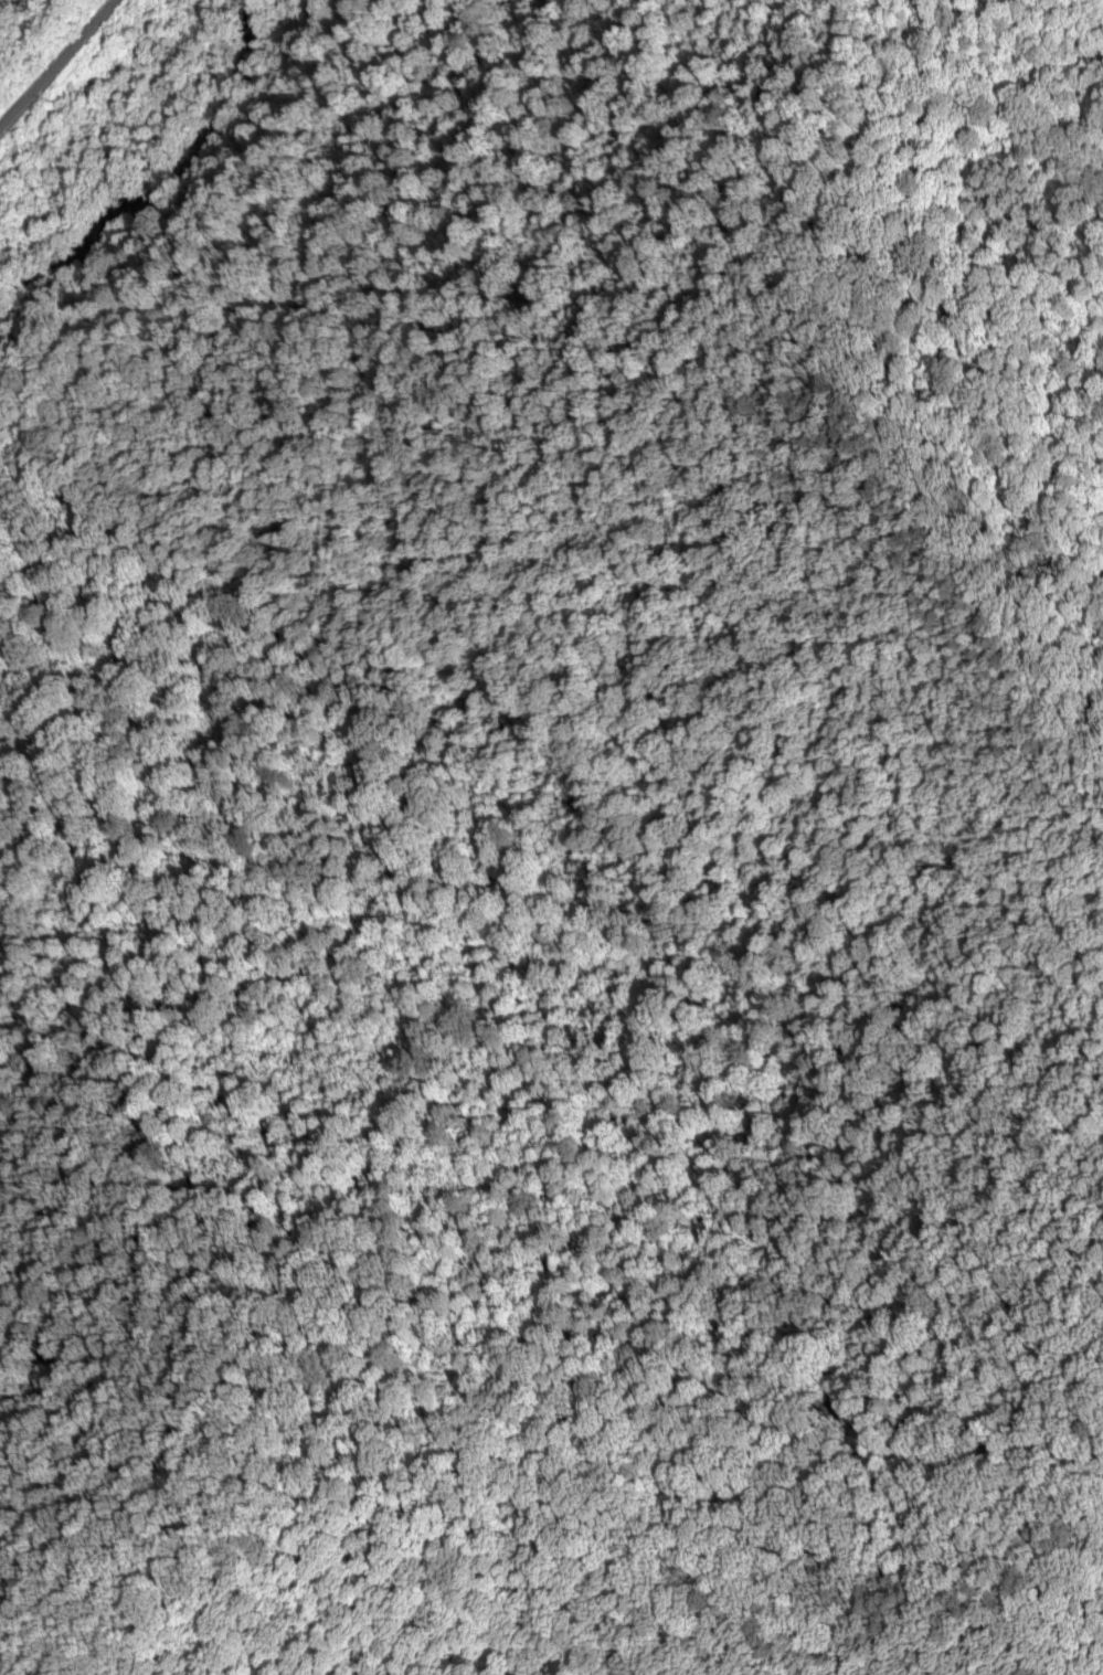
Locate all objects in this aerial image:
road: (55, 57)

